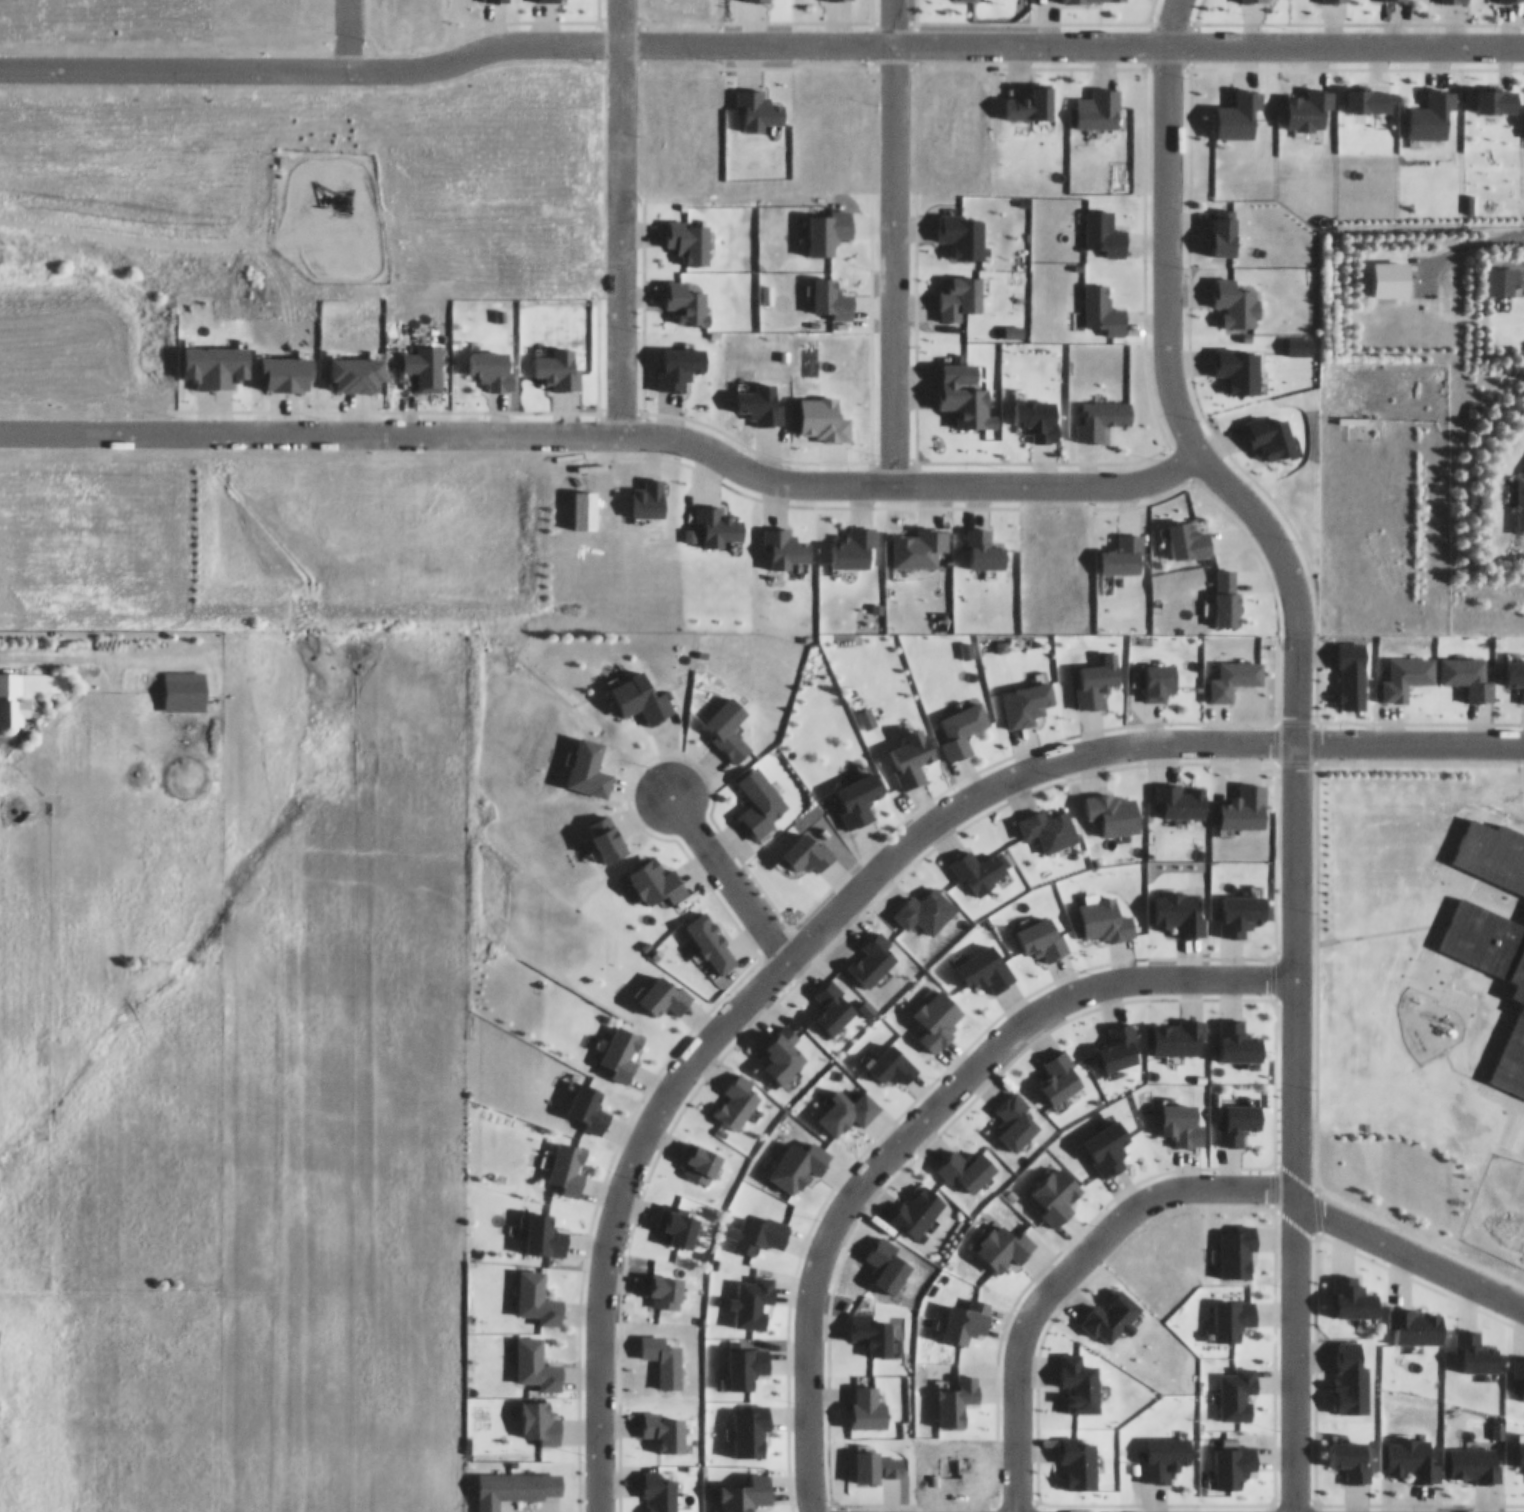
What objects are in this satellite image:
road: (344, 37)
road: (759, 44)
road: (619, 217)
road: (892, 240)
road: (155, 241)
building: (1503, 271)
road: (605, 436)
building: (1521, 494)
road: (1291, 579)
building: (185, 681)
building: (12, 692)
building: (1491, 845)
road: (725, 869)
road: (852, 883)
building: (1514, 986)
road: (916, 1122)
road: (1409, 1253)
road: (1069, 1269)
road: (1295, 1355)

